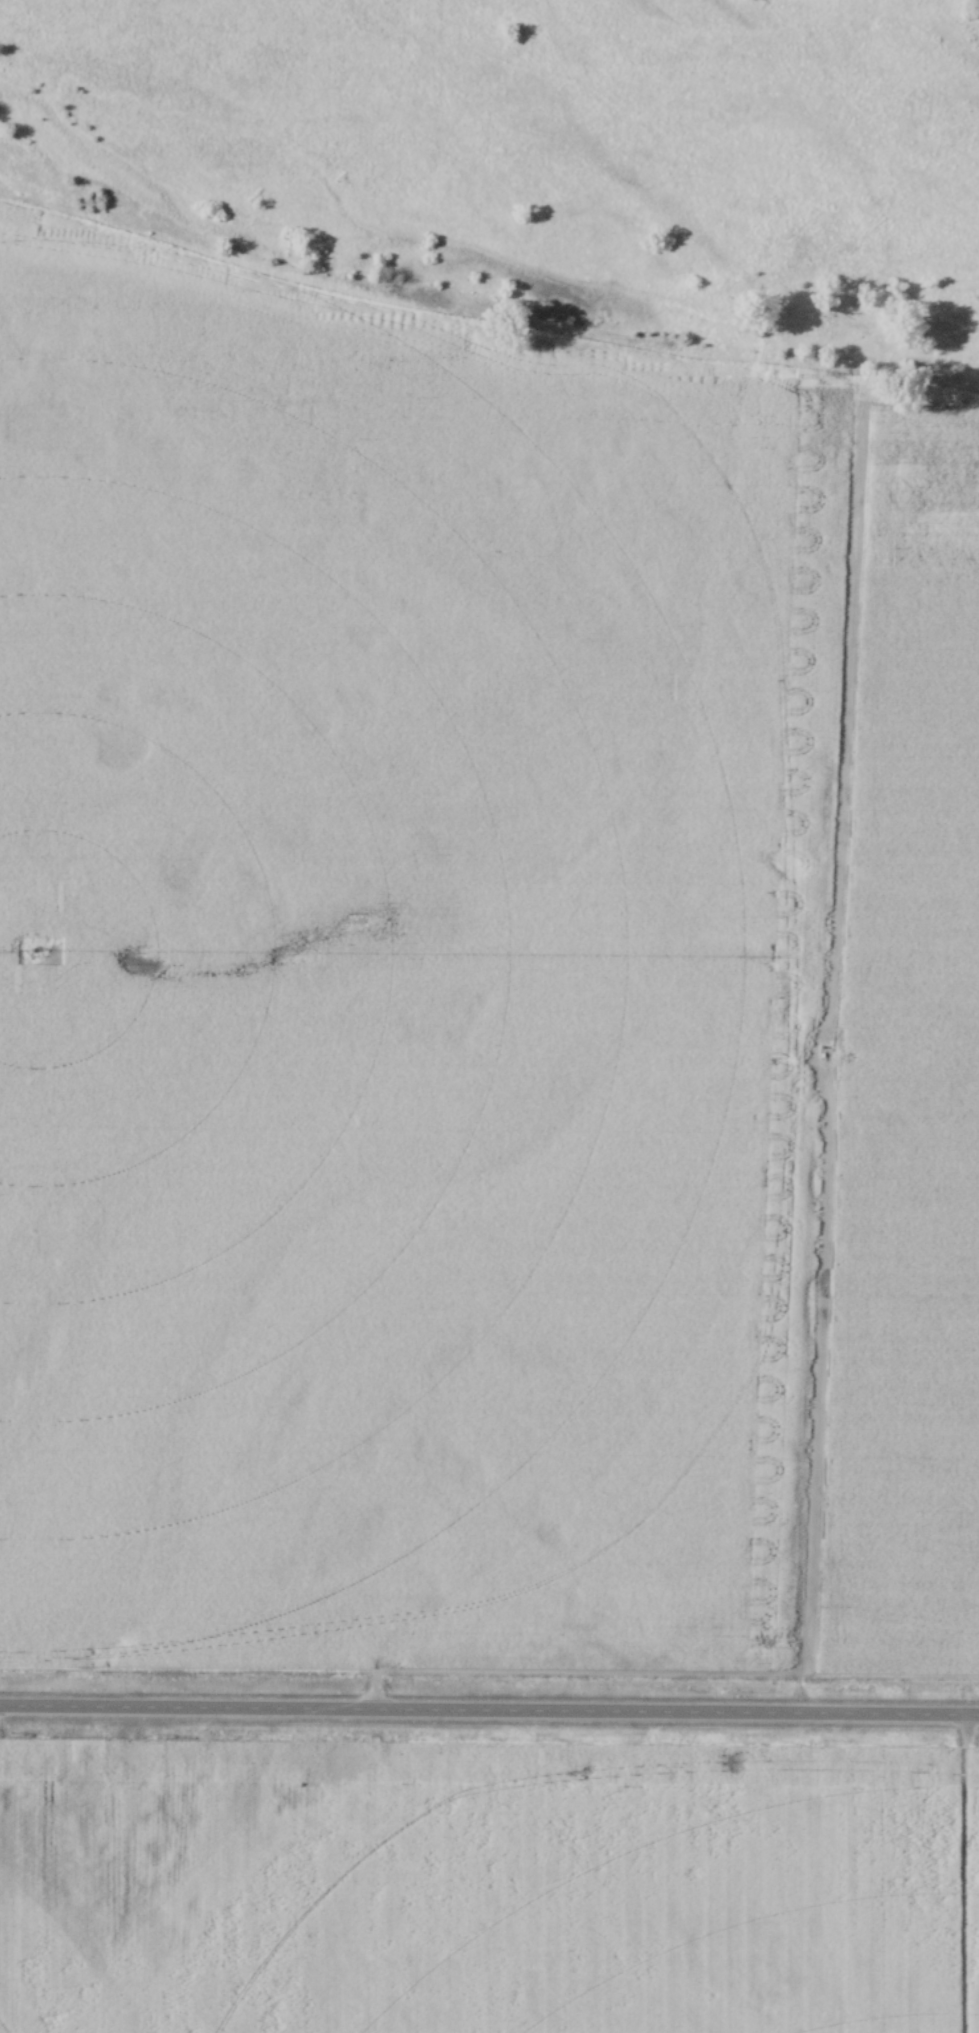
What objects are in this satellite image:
road: (489, 1713)

